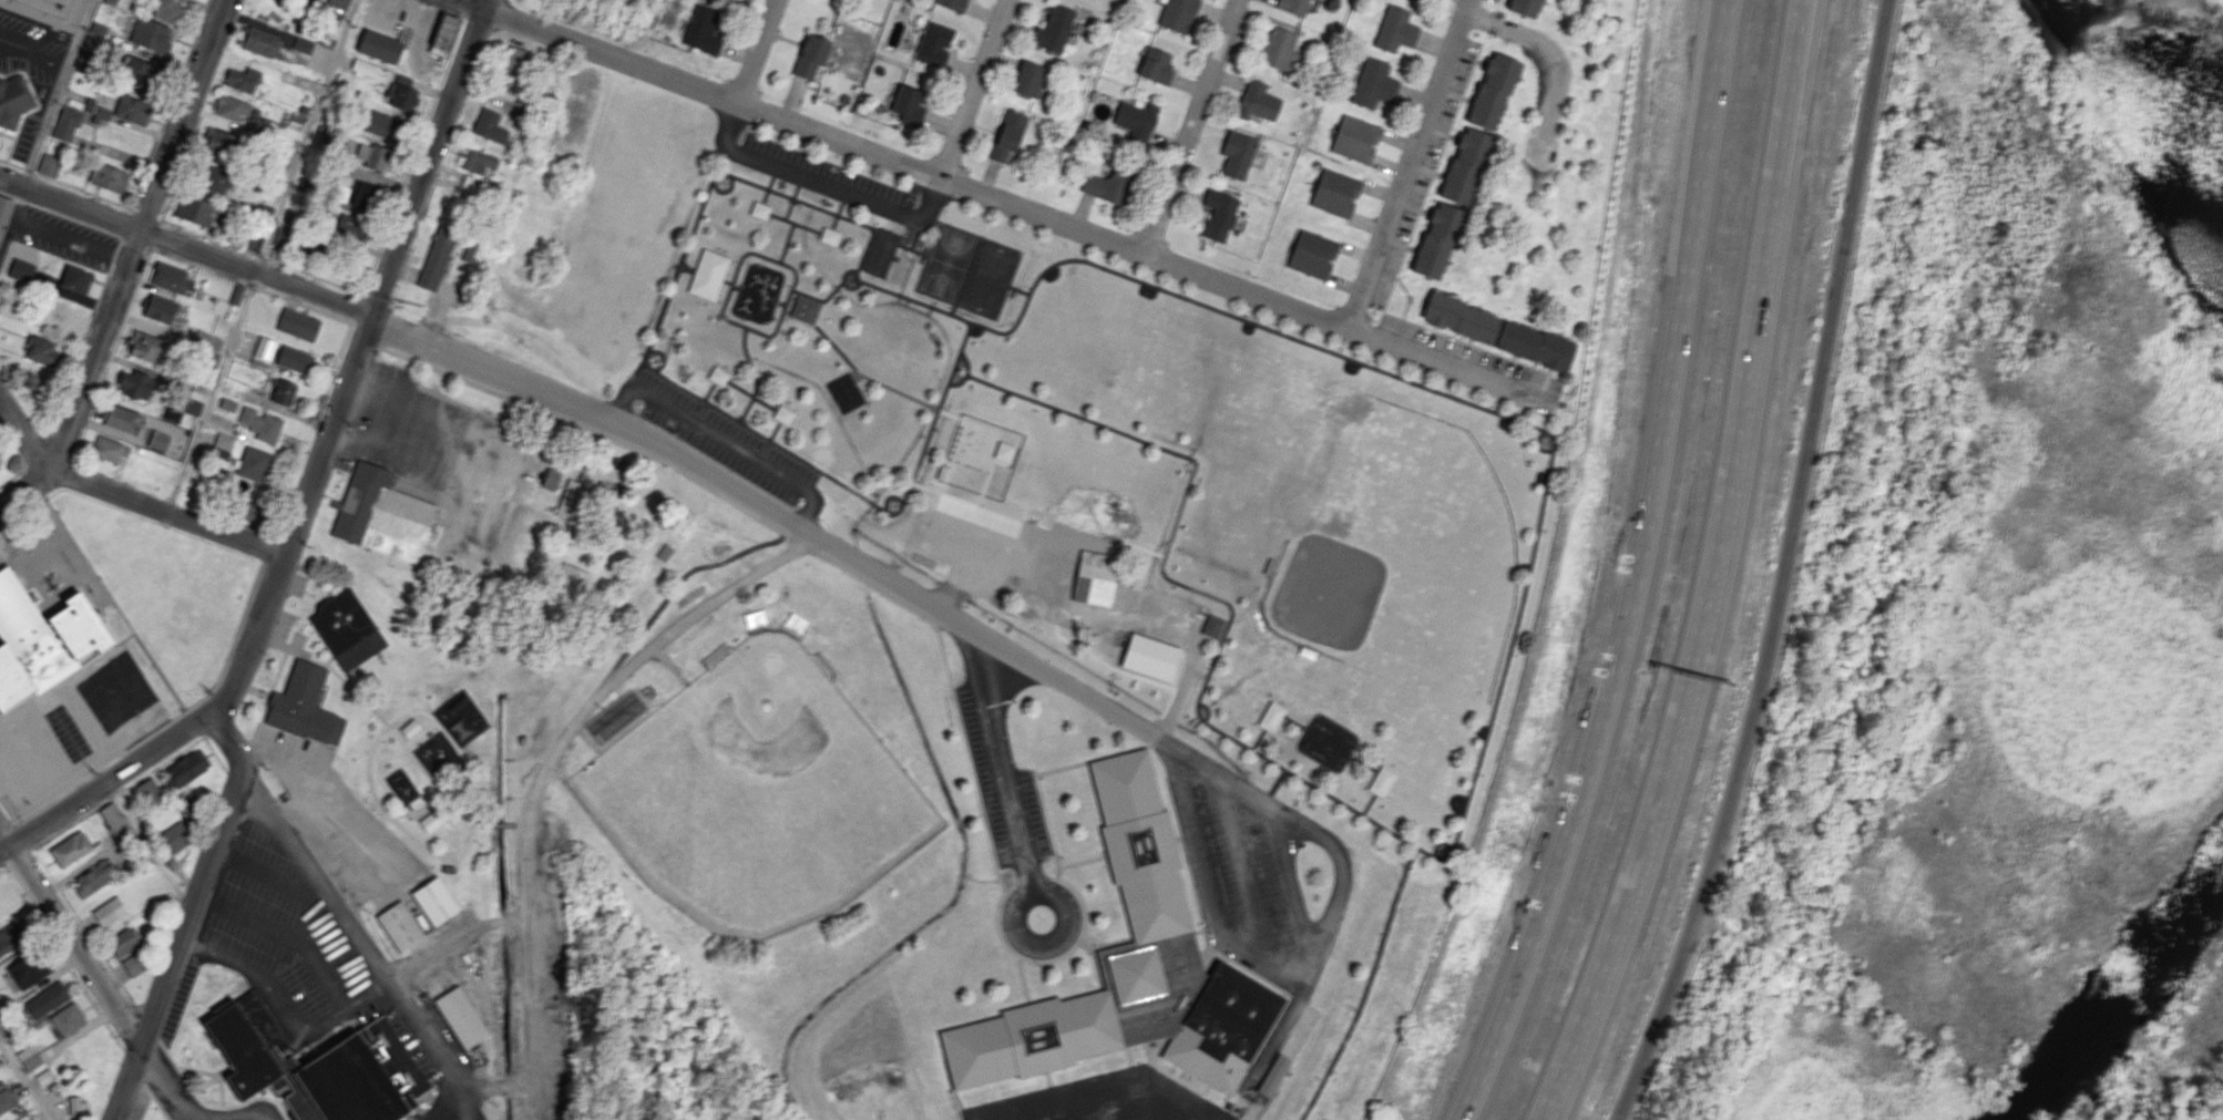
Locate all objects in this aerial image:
building: (283, 0)
building: (318, 0)
parking lot: (1494, 0)
building: (338, 3)
road: (489, 3)
building: (955, 4)
building: (1293, 6)
building: (1522, 7)
building: (166, 9)
building: (47, 10)
building: (1178, 16)
building: (703, 29)
building: (1055, 29)
building: (1396, 29)
building: (444, 31)
building: (150, 34)
building: (258, 41)
building: (303, 44)
building: (934, 44)
building: (380, 45)
building: (90, 47)
building: (1280, 49)
road: (757, 50)
road: (33, 51)
building: (812, 54)
road: (1554, 54)
parking lot: (28, 64)
building: (1157, 65)
building: (366, 68)
building: (513, 69)
building: (139, 72)
building: (1031, 78)
building: (242, 80)
building: (1376, 83)
road: (974, 88)
building: (1496, 91)
road: (57, 92)
road: (35, 95)
building: (404, 97)
building: (13, 99)
building: (1259, 101)
road: (170, 104)
building: (909, 105)
building: (232, 107)
building: (131, 110)
road: (203, 110)
building: (1138, 119)
building: (66, 122)
building: (490, 126)
road: (1195, 126)
building: (387, 127)
road: (8, 134)
building: (1008, 134)
road: (306, 136)
building: (1356, 140)
road: (11, 150)
building: (1239, 153)
road: (413, 154)
road: (1441, 155)
building: (373, 156)
building: (478, 160)
road: (11, 163)
road: (1411, 164)
building: (49, 165)
building: (1463, 166)
road: (29, 169)
parking lot: (828, 172)
parking lot: (1424, 173)
building: (107, 178)
building: (215, 179)
road: (955, 181)
building: (469, 183)
road: (824, 184)
building: (1111, 185)
road: (83, 189)
road: (768, 189)
road: (725, 191)
building: (338, 193)
building: (1334, 193)
road: (7, 194)
building: (365, 197)
road: (20, 199)
road: (791, 202)
building: (193, 209)
building: (4, 213)
road: (147, 214)
building: (1221, 214)
road: (838, 215)
road: (11, 217)
road: (780, 217)
road: (74, 218)
road: (126, 223)
road: (806, 226)
building: (354, 227)
road: (156, 233)
road: (916, 235)
road: (209, 236)
parking lot: (65, 237)
road: (71, 239)
road: (120, 240)
building: (253, 240)
building: (294, 242)
road: (786, 242)
road: (135, 243)
building: (1440, 243)
road: (185, 246)
building: (469, 249)
road: (911, 249)
road: (114, 253)
park: (882, 254)
building: (1313, 254)
road: (262, 255)
building: (437, 258)
park: (946, 263)
road: (130, 264)
road: (197, 266)
road: (686, 267)
road: (737, 269)
building: (21, 270)
road: (846, 271)
building: (707, 274)
road: (315, 276)
building: (168, 277)
building: (74, 278)
road: (727, 280)
road: (249, 285)
road: (735, 287)
road: (853, 287)
road: (1020, 288)
building: (236, 294)
road: (1408, 296)
road: (780, 302)
road: (304, 305)
building: (158, 307)
road: (357, 308)
building: (802, 310)
building: (1463, 318)
road: (797, 320)
building: (296, 322)
road: (1466, 342)
building: (144, 346)
building: (262, 346)
building: (1536, 346)
road: (80, 348)
road: (838, 348)
building: (40, 350)
road: (113, 351)
road: (667, 351)
parking lot: (1469, 353)
road: (663, 356)
road: (959, 357)
building: (293, 358)
road: (754, 374)
road: (857, 377)
road: (1500, 382)
building: (134, 384)
road: (740, 388)
building: (280, 391)
road: (211, 392)
road: (708, 392)
building: (194, 399)
road: (765, 402)
road: (889, 410)
road: (950, 415)
building: (119, 418)
building: (266, 428)
road: (313, 428)
road: (586, 429)
road: (775, 430)
road: (720, 439)
building: (158, 440)
building: (222, 440)
parking lot: (727, 441)
road: (1537, 444)
parking lot: (441, 445)
road: (12, 448)
building: (107, 450)
water park: (985, 458)
building: (252, 462)
building: (0, 466)
road: (13, 476)
building: (551, 477)
park: (1087, 480)
road: (310, 483)
road: (909, 487)
road: (929, 491)
road: (890, 495)
road: (125, 496)
building: (573, 500)
building: (246, 510)
road: (981, 510)
road: (22, 511)
road: (776, 512)
building: (381, 516)
parking lot: (985, 518)
road: (790, 522)
park: (496, 528)
road: (802, 544)
road: (267, 548)
building: (665, 552)
park: (1394, 561)
road: (1779, 567)
road: (1711, 569)
road: (1637, 571)
building: (1096, 577)
building: (572, 578)
road: (878, 588)
road: (672, 592)
road: (269, 595)
building: (692, 596)
road: (115, 603)
road: (293, 603)
road: (934, 604)
building: (1212, 625)
building: (344, 627)
building: (41, 639)
road: (284, 646)
building: (1151, 655)
road: (305, 656)
road: (219, 676)
road: (258, 690)
road: (360, 691)
building: (303, 706)
road: (1209, 709)
road: (1294, 721)
fountain: (370, 723)
parking lot: (73, 726)
road: (1258, 739)
road: (371, 746)
road: (1481, 749)
road: (215, 753)
road: (970, 758)
road: (1001, 760)
road: (112, 761)
road: (1363, 762)
road: (545, 763)
building: (186, 768)
road: (1319, 775)
park: (423, 782)
road: (1274, 787)
building: (148, 790)
road: (119, 792)
park: (758, 794)
parking lot: (1003, 794)
parking lot: (331, 797)
road: (57, 798)
road: (1366, 803)
road: (9, 811)
road: (380, 814)
road: (1046, 819)
building: (431, 820)
building: (114, 821)
road: (501, 825)
road: (519, 825)
road: (8, 829)
road: (25, 836)
building: (173, 839)
road: (1440, 843)
road: (1333, 844)
building: (70, 849)
road: (436, 853)
road: (19, 859)
road: (1082, 862)
road: (1237, 862)
road: (2, 864)
building: (449, 869)
parking lot: (1248, 869)
road: (2, 870)
road: (1057, 873)
building: (94, 877)
road: (1015, 877)
road: (269, 878)
road: (1291, 884)
road: (1210, 886)
building: (434, 901)
building: (109, 911)
road: (189, 914)
road: (520, 917)
flagpole: (1041, 918)
road: (504, 921)
road: (83, 925)
building: (400, 926)
road: (1014, 927)
building: (11, 937)
road: (70, 937)
road: (290, 937)
building: (122, 942)
road: (1085, 942)
road: (454, 943)
road: (1053, 958)
road: (64, 959)
road: (379, 963)
building: (134, 964)
road: (1098, 967)
building: (1126, 968)
building: (29, 969)
road: (403, 977)
road: (1023, 977)
road: (1366, 986)
building: (47, 999)
road: (289, 1014)
building: (460, 1017)
building: (68, 1019)
road: (146, 1019)
road: (632, 1039)
building: (28, 1057)
building: (317, 1066)
road: (134, 1067)
road: (197, 1070)
building: (1273, 1075)
road: (157, 1076)
building: (44, 1077)
road: (211, 1078)
road: (27, 1079)
road: (222, 1090)
building: (6, 1101)
road: (156, 1102)
road: (467, 1104)
building: (78, 1106)
road: (213, 1106)

